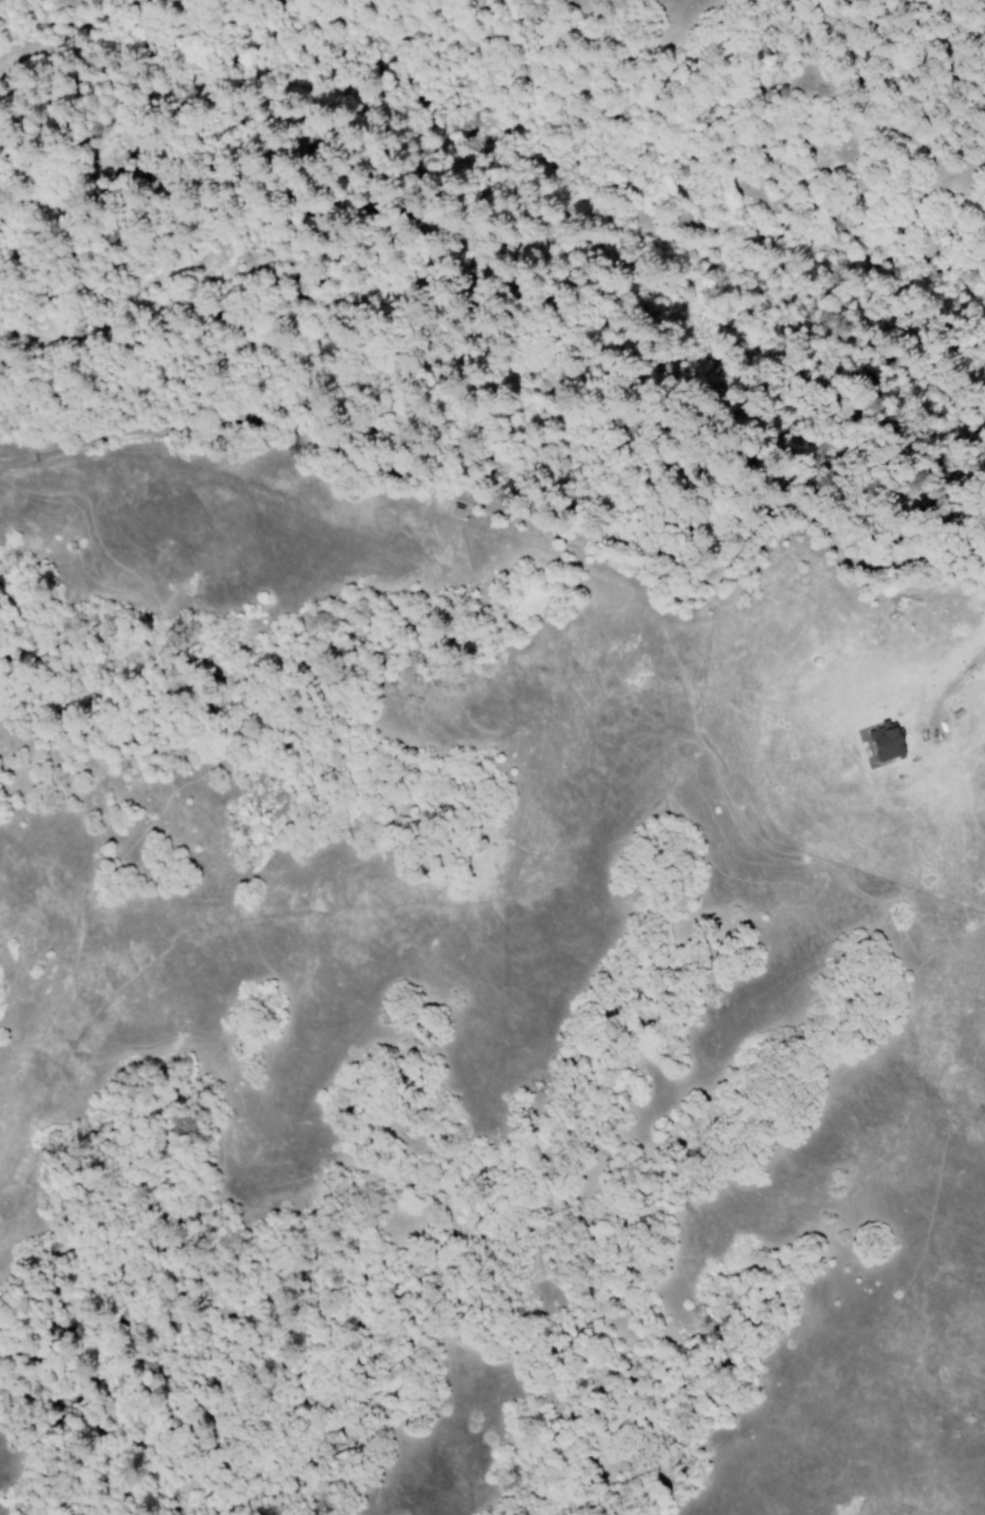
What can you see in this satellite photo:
road: (497, 533)
building: (881, 743)

